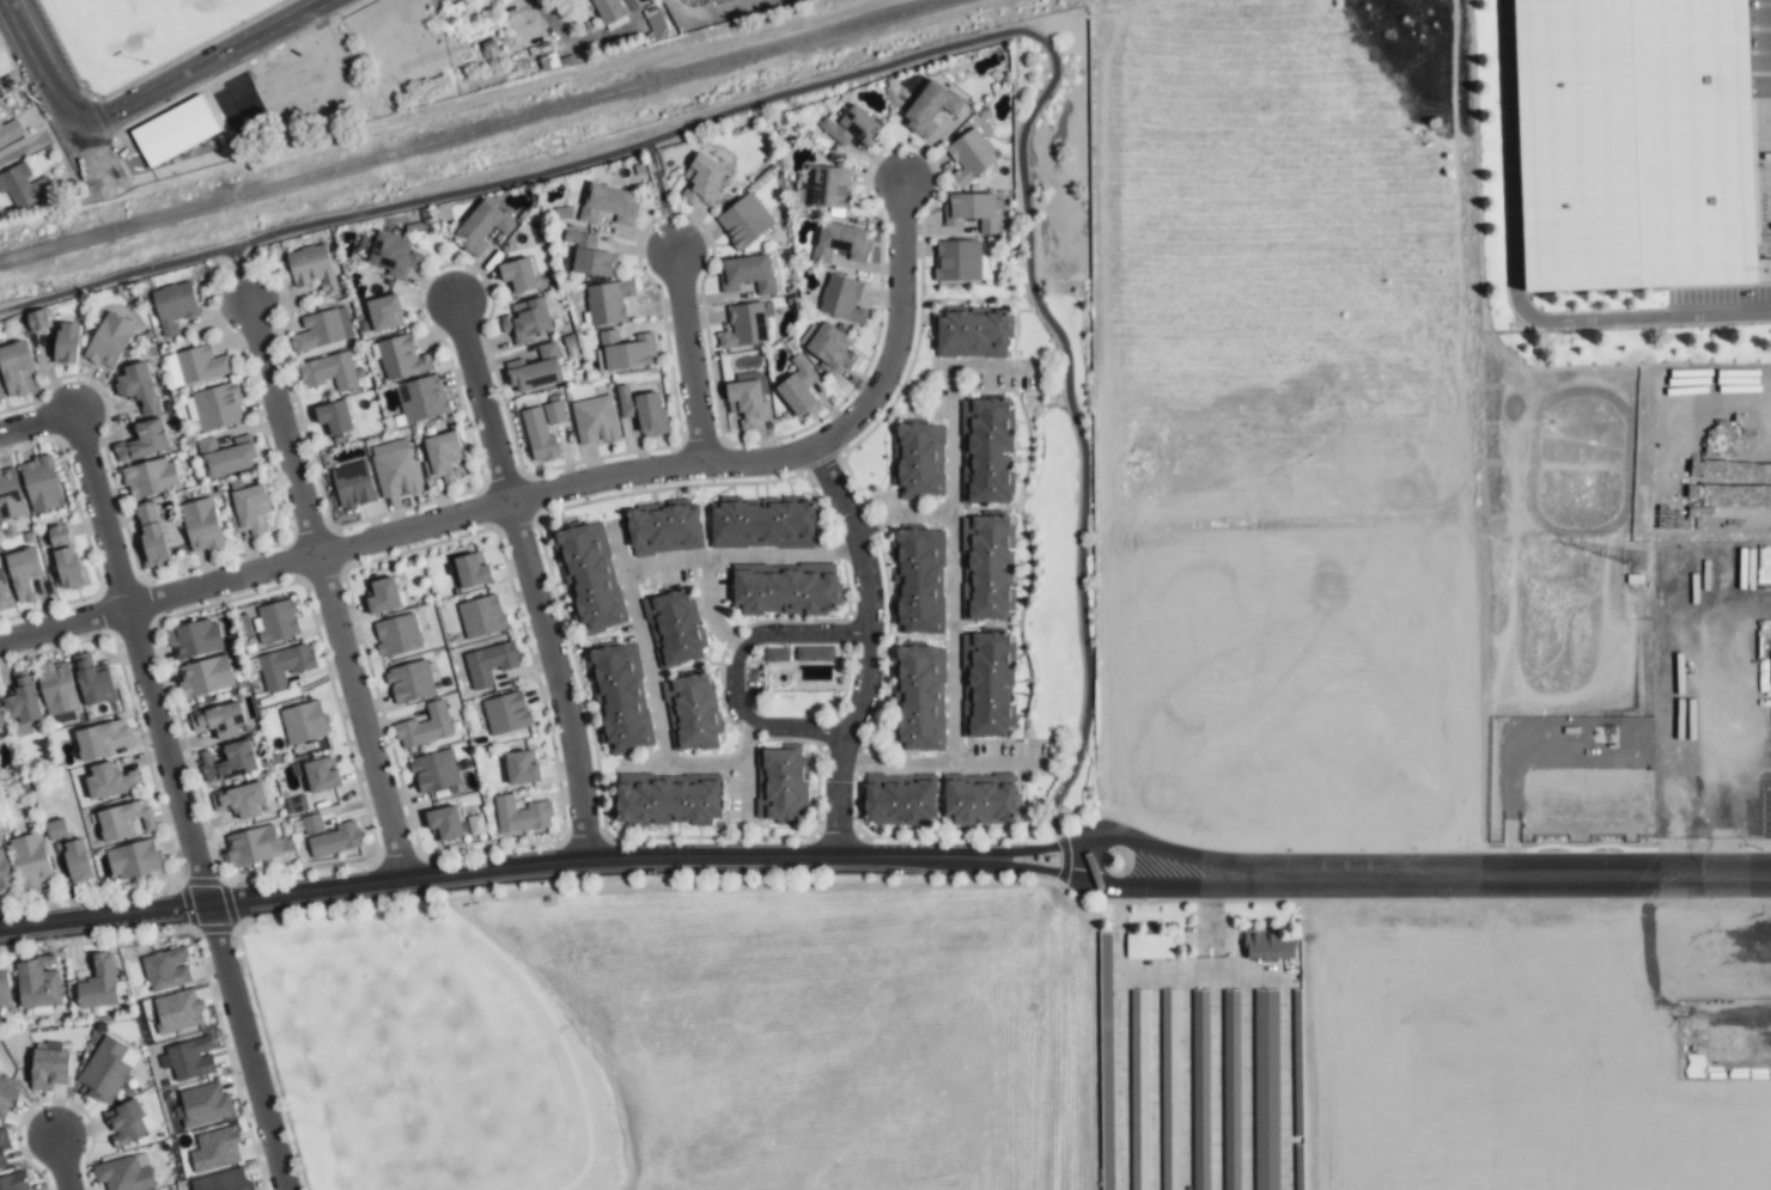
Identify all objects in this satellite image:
building: (608, 10)
road: (594, 37)
road: (933, 53)
building: (546, 56)
road: (200, 65)
building: (0, 92)
road: (59, 97)
building: (931, 106)
building: (850, 127)
building: (175, 130)
railway: (474, 130)
building: (10, 132)
road: (36, 140)
building: (1625, 142)
building: (969, 157)
building: (702, 181)
building: (23, 185)
building: (826, 187)
road: (659, 193)
building: (608, 205)
building: (973, 210)
building: (744, 221)
building: (482, 226)
building: (841, 243)
building: (394, 255)
building: (589, 255)
building: (961, 261)
building: (311, 267)
road: (237, 271)
building: (747, 274)
building: (518, 275)
road: (1505, 282)
building: (842, 299)
building: (608, 301)
building: (174, 306)
building: (383, 312)
building: (37, 319)
building: (525, 321)
building: (747, 324)
road: (899, 328)
building: (322, 329)
building: (970, 332)
building: (109, 341)
building: (67, 342)
building: (828, 347)
building: (625, 350)
road: (687, 354)
building: (402, 358)
building: (14, 367)
road: (994, 368)
building: (536, 370)
building: (329, 372)
building: (138, 386)
building: (798, 387)
building: (0, 396)
building: (421, 398)
road: (479, 399)
building: (745, 402)
building: (218, 407)
building: (643, 410)
building: (334, 419)
building: (595, 420)
road: (37, 421)
road: (279, 425)
building: (542, 429)
building: (144, 440)
building: (984, 448)
building: (226, 456)
building: (442, 457)
building: (918, 459)
building: (395, 469)
building: (151, 478)
building: (41, 483)
building: (10, 495)
building: (250, 508)
building: (762, 523)
building: (201, 525)
road: (406, 527)
building: (662, 527)
building: (151, 533)
building: (59, 537)
road: (792, 551)
building: (985, 565)
road: (954, 566)
building: (68, 567)
building: (471, 572)
building: (24, 573)
building: (589, 575)
building: (918, 579)
building: (784, 588)
building: (4, 592)
building: (383, 596)
road: (710, 609)
building: (481, 616)
building: (276, 621)
building: (673, 627)
building: (396, 635)
building: (195, 639)
road: (640, 642)
road: (866, 648)
building: (815, 653)
building: (488, 664)
building: (282, 666)
road: (735, 669)
building: (205, 676)
road: (559, 677)
building: (92, 681)
building: (409, 682)
building: (986, 683)
building: (57, 686)
building: (919, 695)
building: (619, 697)
building: (23, 698)
building: (689, 712)
building: (506, 713)
road: (358, 718)
building: (219, 720)
building: (303, 722)
building: (425, 726)
building: (1, 728)
building: (98, 739)
building: (229, 762)
road: (681, 763)
road: (943, 763)
building: (522, 768)
road: (742, 770)
building: (434, 771)
building: (321, 776)
building: (109, 781)
building: (667, 799)
building: (899, 799)
building: (979, 799)
road: (176, 800)
building: (242, 800)
building: (519, 814)
building: (124, 819)
building: (444, 823)
building: (56, 829)
building: (329, 836)
building: (251, 846)
road: (1028, 852)
road: (1186, 855)
building: (31, 860)
building: (77, 860)
building: (133, 860)
road: (1024, 867)
road: (479, 871)
building: (4, 873)
road: (1536, 875)
road: (1185, 885)
building: (1260, 944)
building: (1149, 946)
building: (166, 969)
building: (99, 983)
building: (5, 989)
building: (177, 1011)
building: (188, 1058)
building: (49, 1066)
building: (108, 1069)
building: (7, 1094)
building: (203, 1105)
building: (127, 1122)
building: (2, 1147)
building: (215, 1149)
road: (60, 1162)
building: (124, 1173)
building: (223, 1180)
building: (13, 1182)
building: (1170, 1186)

